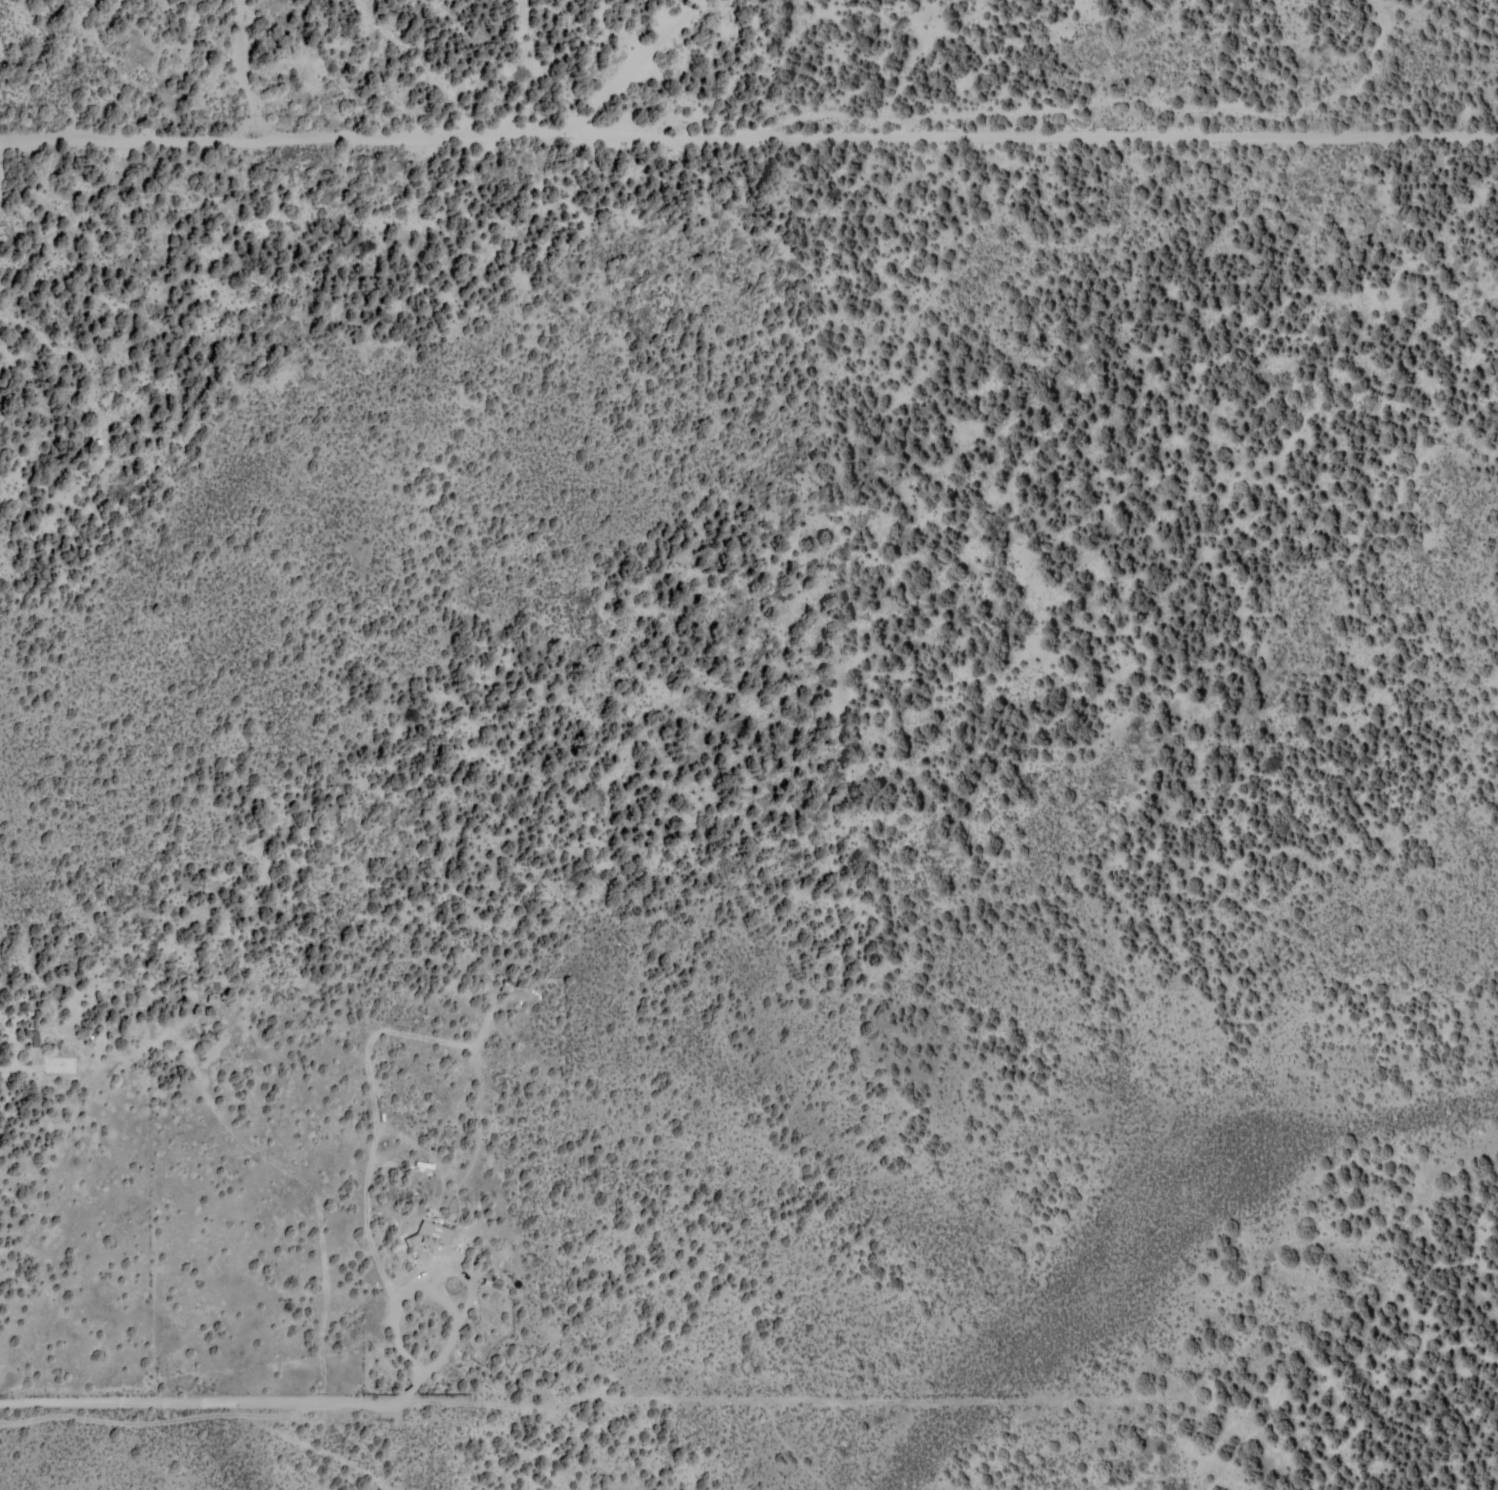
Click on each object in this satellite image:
building: (171, 1)
road: (1210, 881)
building: (35, 1037)
road: (863, 1061)
road: (984, 1078)
building: (435, 1231)
building: (411, 1240)
road: (1475, 1303)

